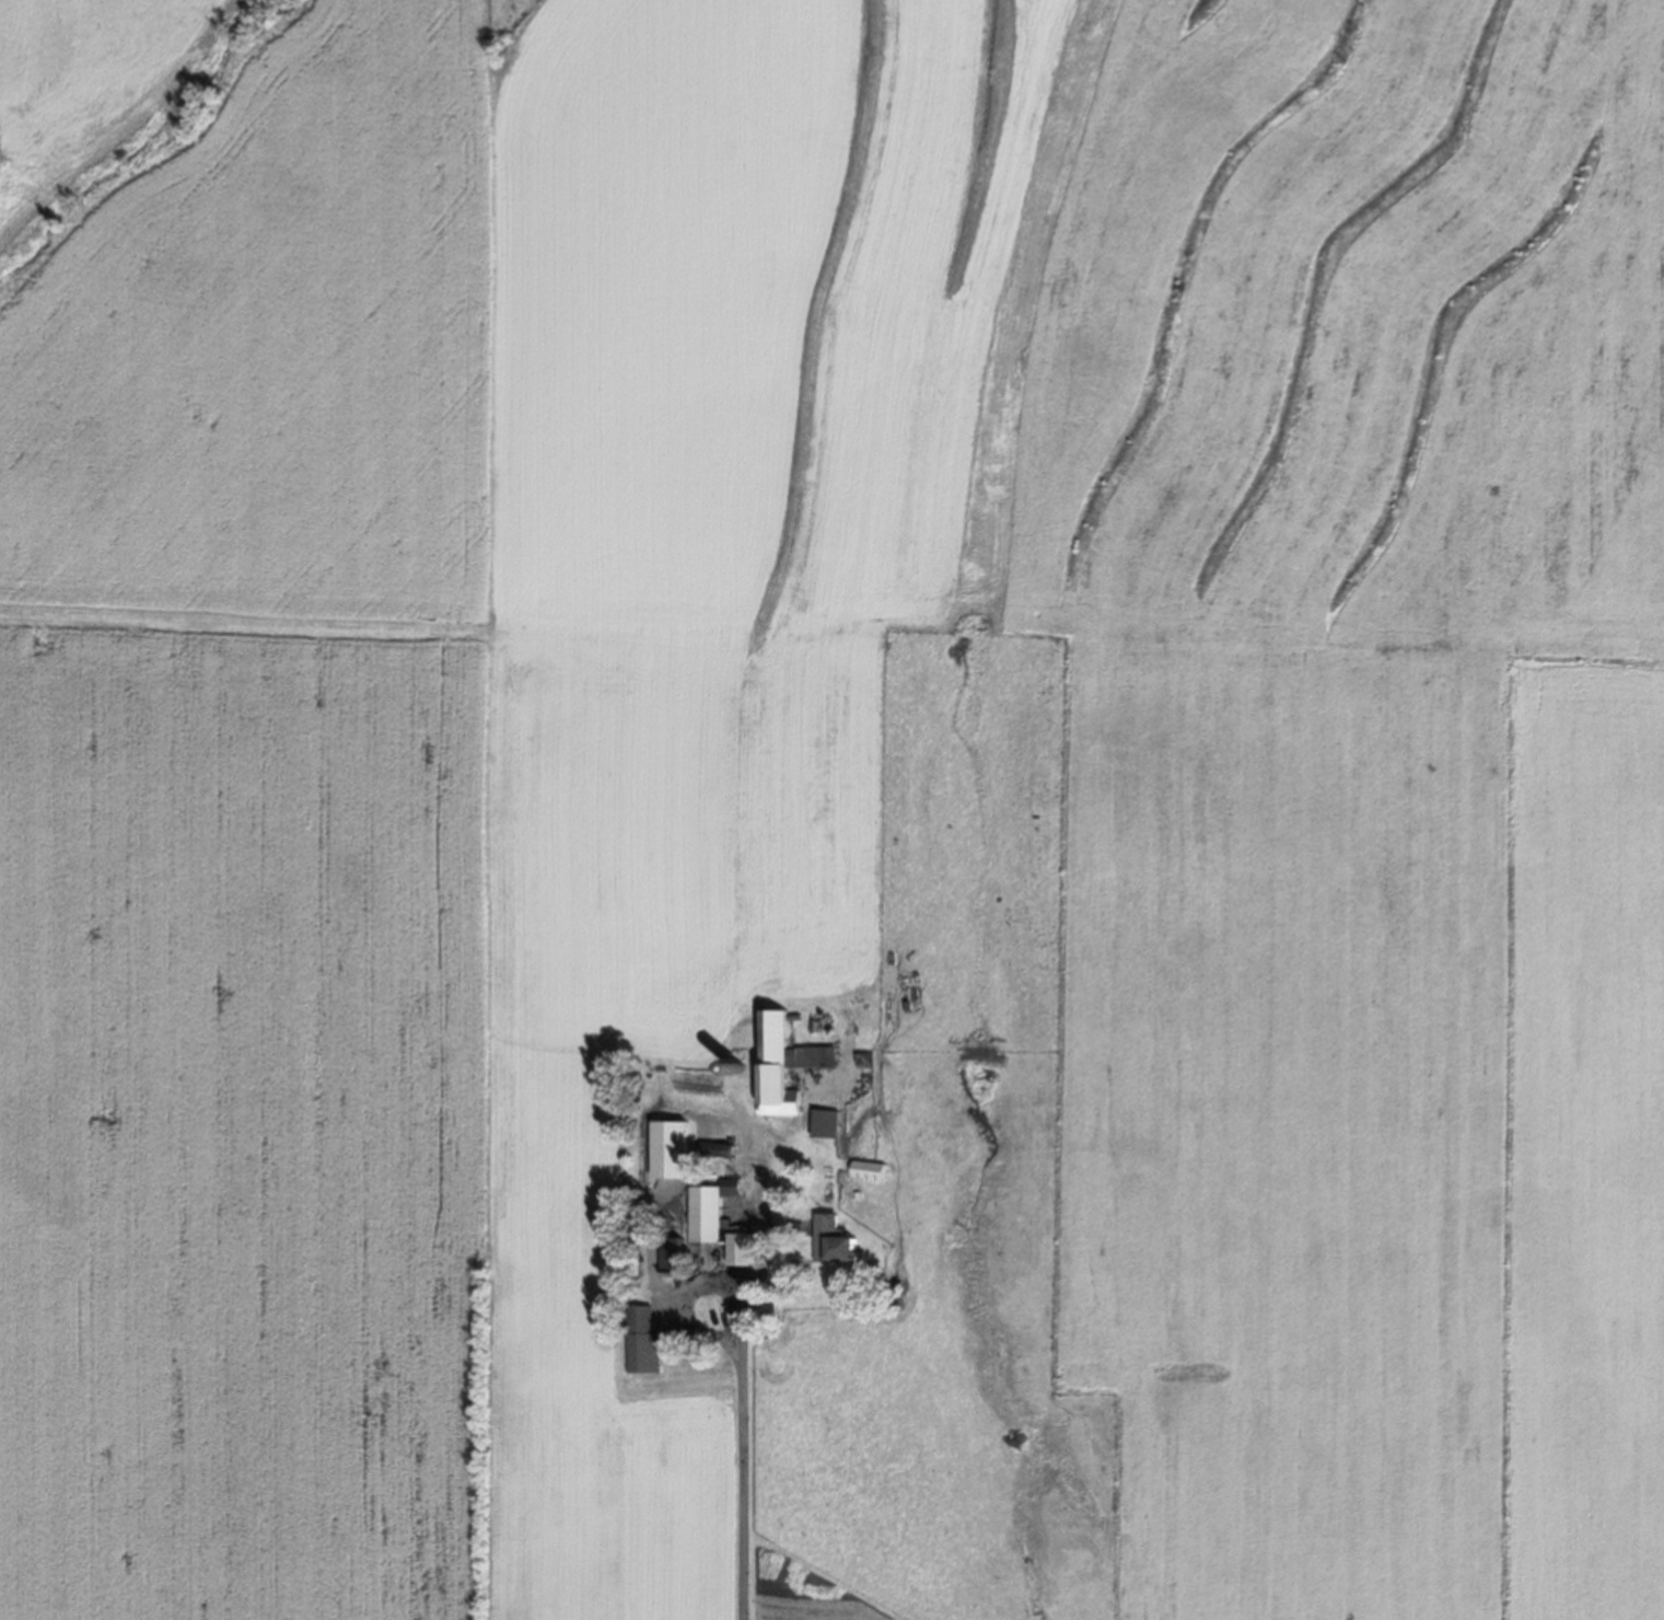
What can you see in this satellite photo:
building: (782, 1066)
building: (830, 1123)
building: (723, 1148)
building: (872, 1169)
building: (723, 1219)
building: (839, 1240)
building: (676, 1254)
road: (696, 1289)
building: (644, 1338)
road: (743, 1483)

